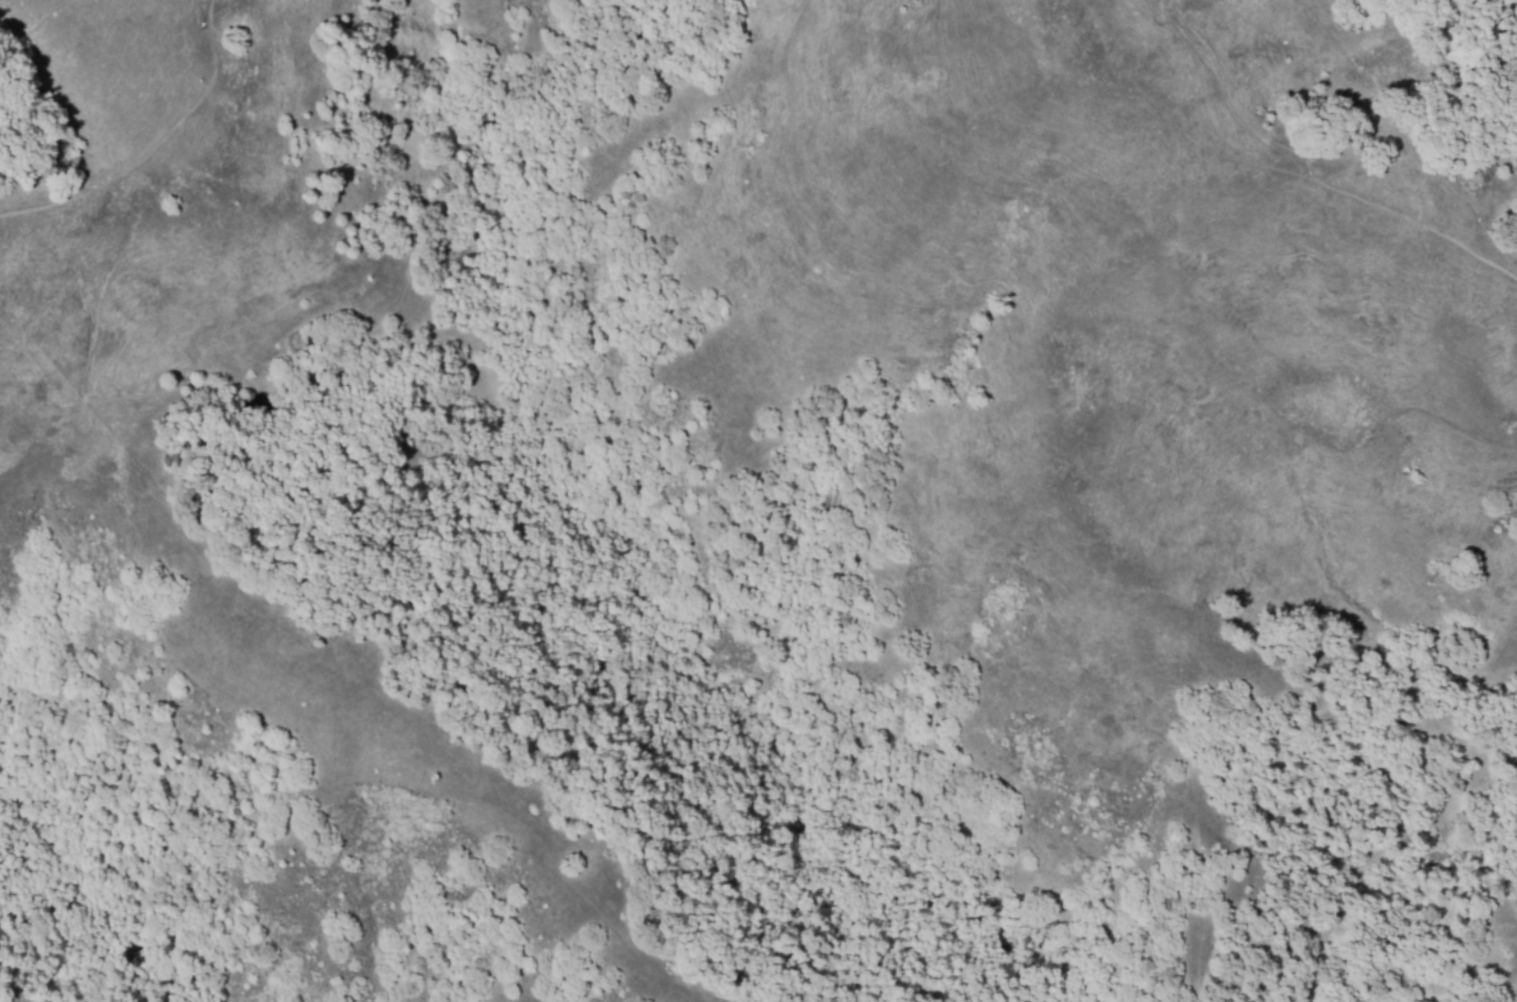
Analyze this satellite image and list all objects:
road: (1512, 994)

